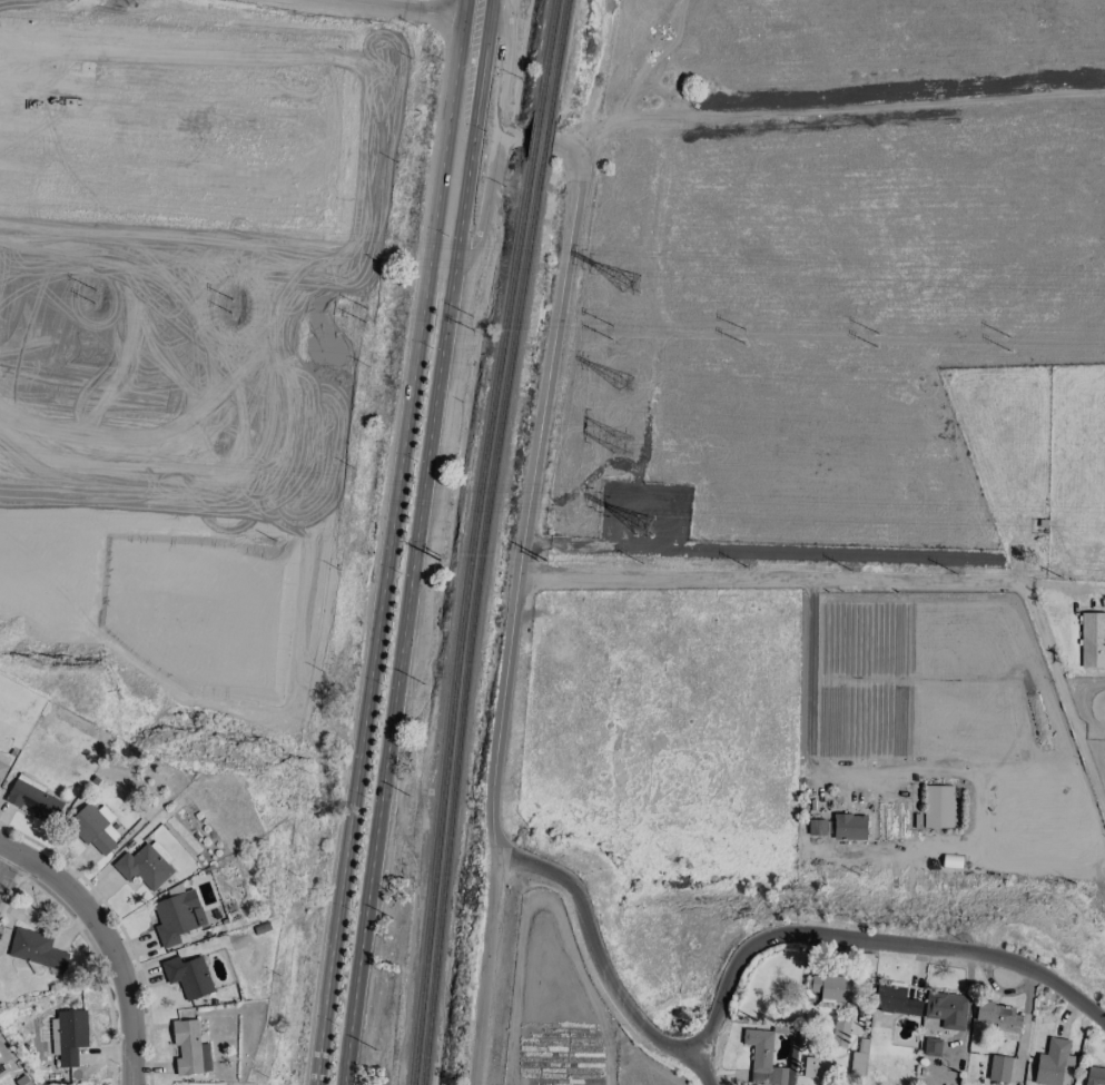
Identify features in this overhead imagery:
road: (406, 7)
road: (465, 7)
road: (486, 8)
road: (475, 16)
road: (480, 56)
railway: (547, 57)
railway: (558, 58)
road: (505, 65)
road: (527, 137)
railway: (534, 139)
railway: (544, 142)
road: (487, 199)
power tower: (631, 282)
power tower: (96, 290)
power tower: (231, 300)
power tower: (92, 304)
power tower: (369, 309)
power tower: (229, 314)
power tower: (472, 317)
power tower: (366, 323)
power tower: (611, 326)
power tower: (741, 329)
power tower: (472, 331)
power tower: (876, 334)
power tower: (1006, 337)
power tower: (610, 339)
power tower: (741, 343)
power tower: (876, 347)
power tower: (1007, 351)
power tower: (625, 383)
power tower: (622, 443)
road: (529, 496)
power tower: (643, 526)
road: (388, 549)
road: (888, 579)
road: (410, 591)
railway: (462, 623)
railway: (474, 624)
building: (1092, 640)
road: (809, 672)
building: (2, 769)
building: (32, 799)
building: (937, 807)
building: (816, 827)
building: (849, 827)
building: (93, 828)
road: (6, 864)
building: (142, 867)
building: (176, 917)
road: (109, 940)
building: (36, 950)
road: (732, 967)
road: (485, 971)
building: (188, 977)
building: (830, 988)
building: (895, 1002)
building: (946, 1010)
building: (999, 1020)
building: (839, 1034)
building: (68, 1036)
building: (931, 1047)
building: (189, 1048)
building: (4, 1063)
building: (856, 1064)
building: (1052, 1064)
building: (815, 1068)
road: (703, 1069)
building: (998, 1069)
building: (1095, 1076)
building: (22, 1081)

